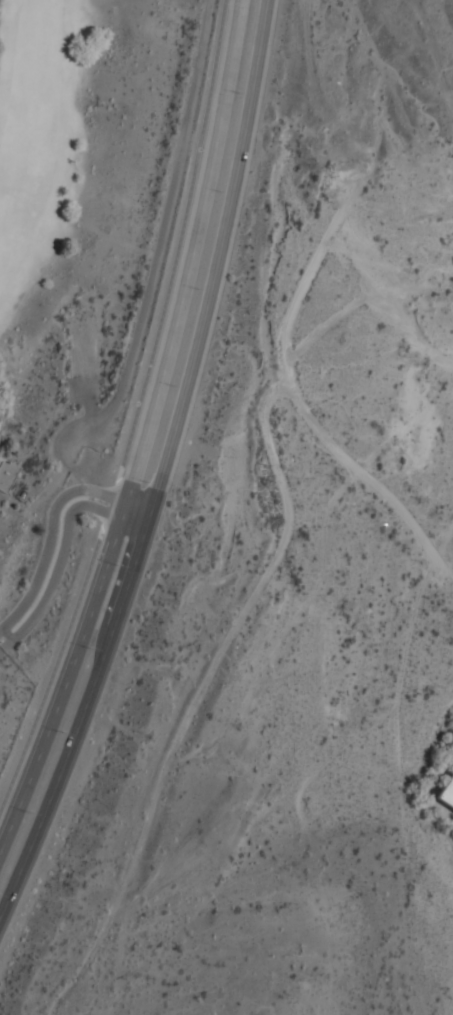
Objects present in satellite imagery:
road: (193, 252)
road: (218, 256)
park: (78, 275)
road: (136, 410)
building: (7, 474)
road: (52, 522)
road: (64, 551)
road: (68, 678)
road: (82, 713)
building: (446, 793)

